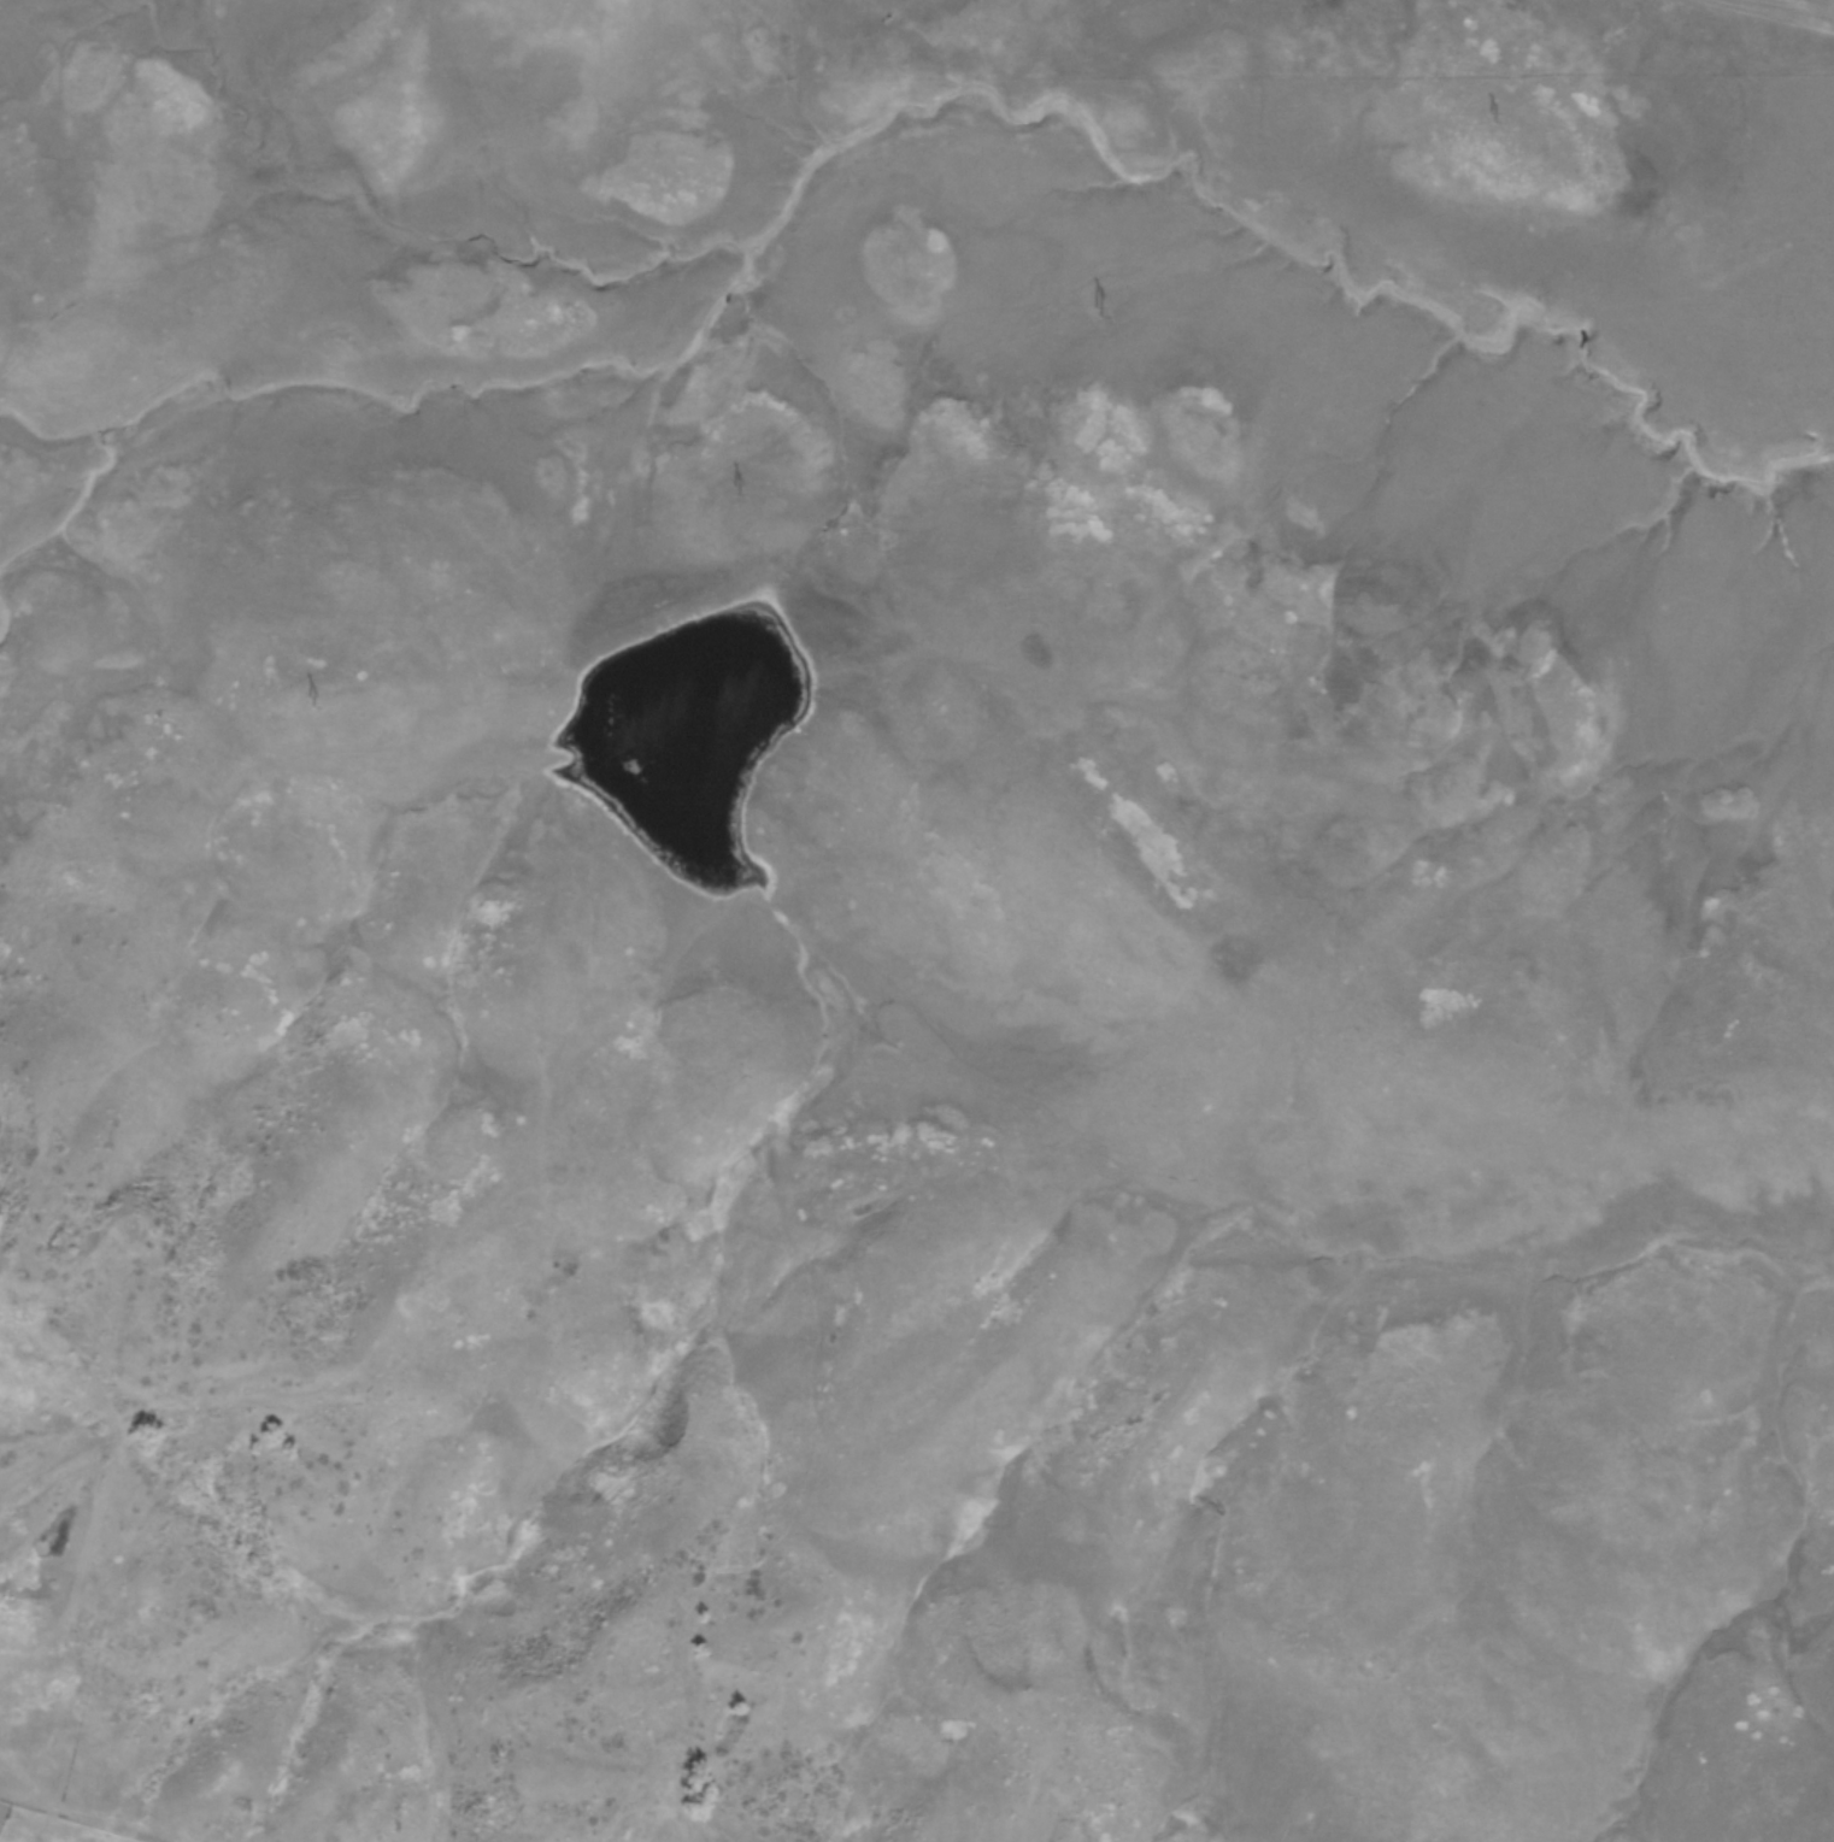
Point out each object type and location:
power tower: (1486, 118)
power tower: (1095, 311)
power tower: (733, 489)
power tower: (302, 702)

